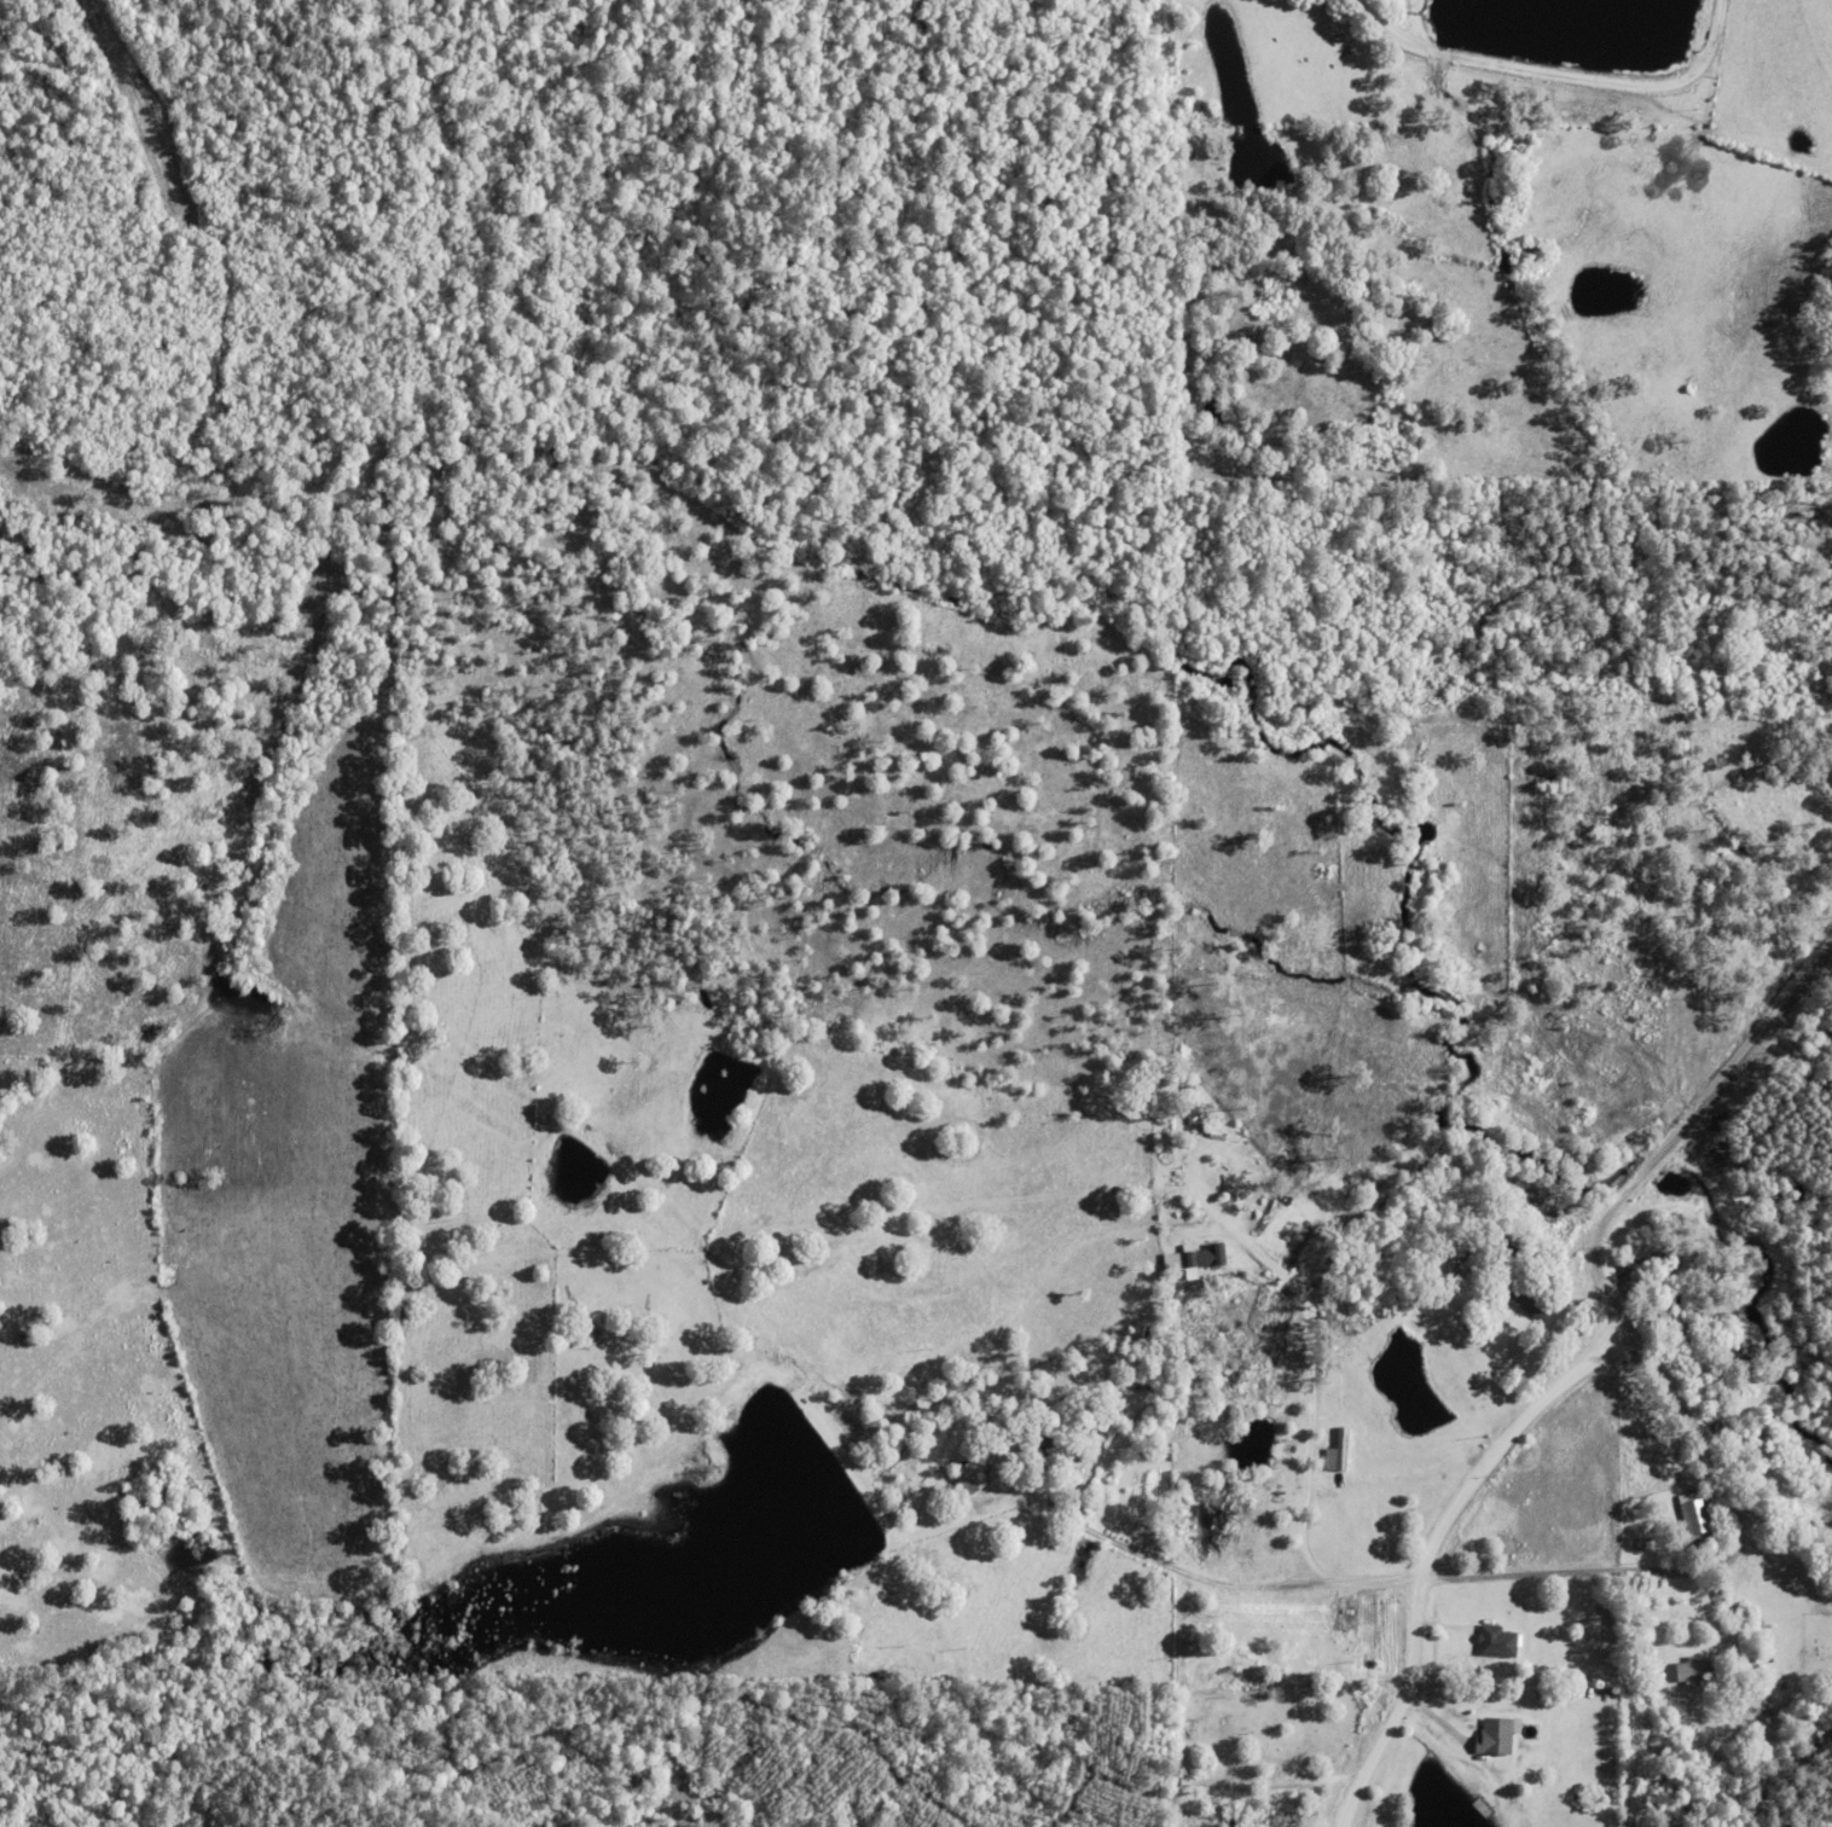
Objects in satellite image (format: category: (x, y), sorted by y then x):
building: (1178, 1259)
building: (1536, 1301)
building: (1337, 1451)
building: (972, 1474)
building: (1699, 1524)
road: (1431, 1543)
road: (1740, 1547)
building: (1497, 1640)
building: (1695, 1669)
building: (1561, 1693)
building: (1496, 1735)
building: (1264, 1738)

